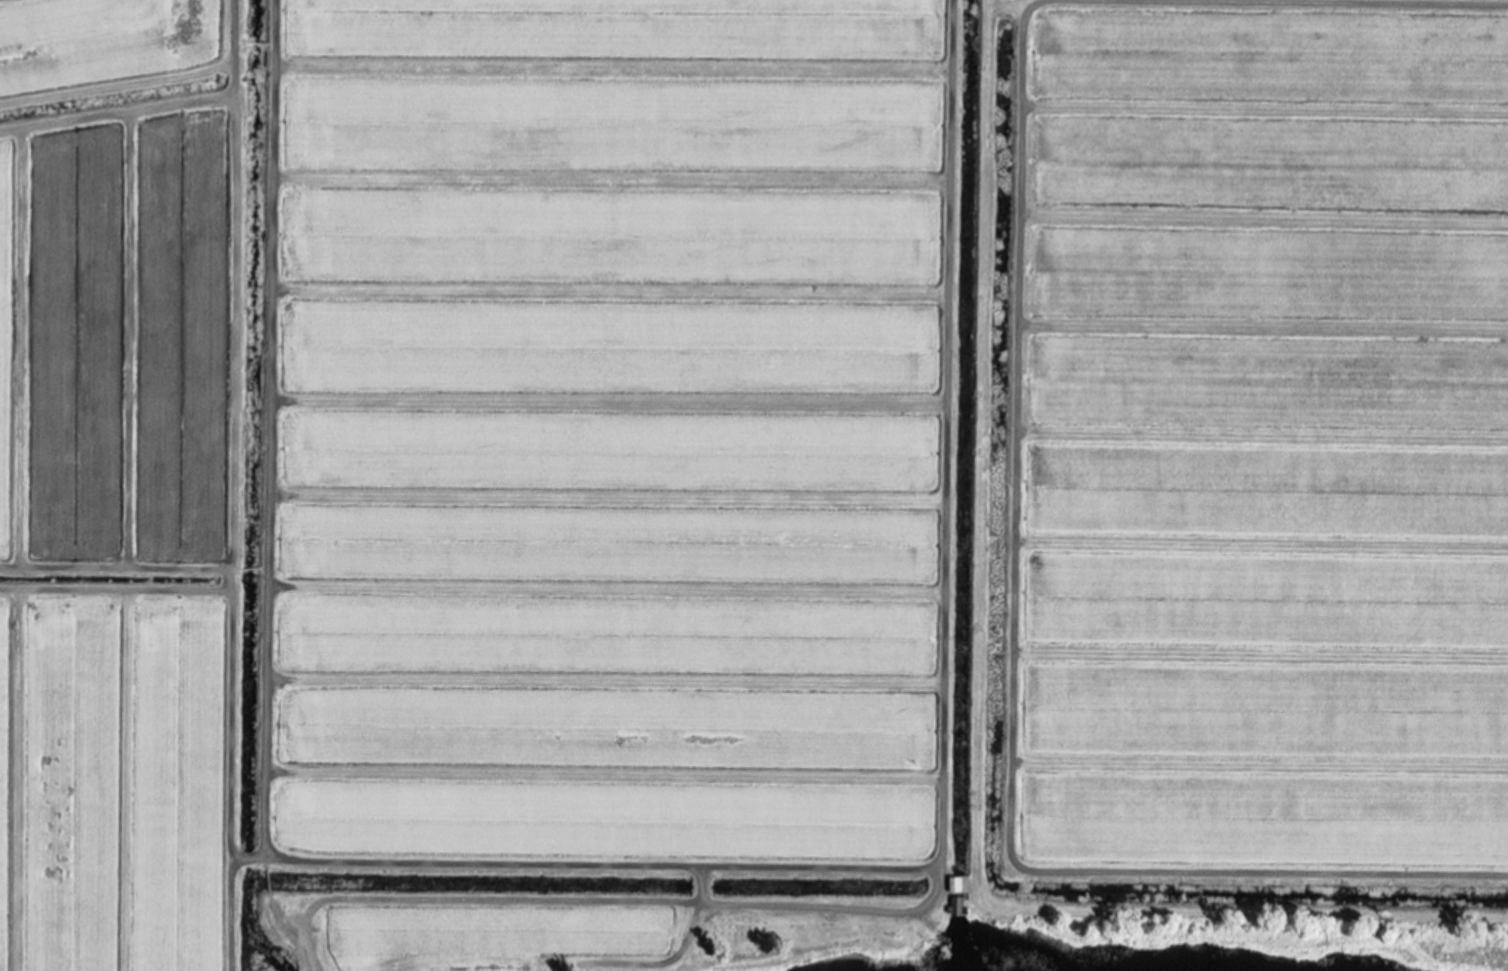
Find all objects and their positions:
road: (925, 397)
crop: (753, 484)

